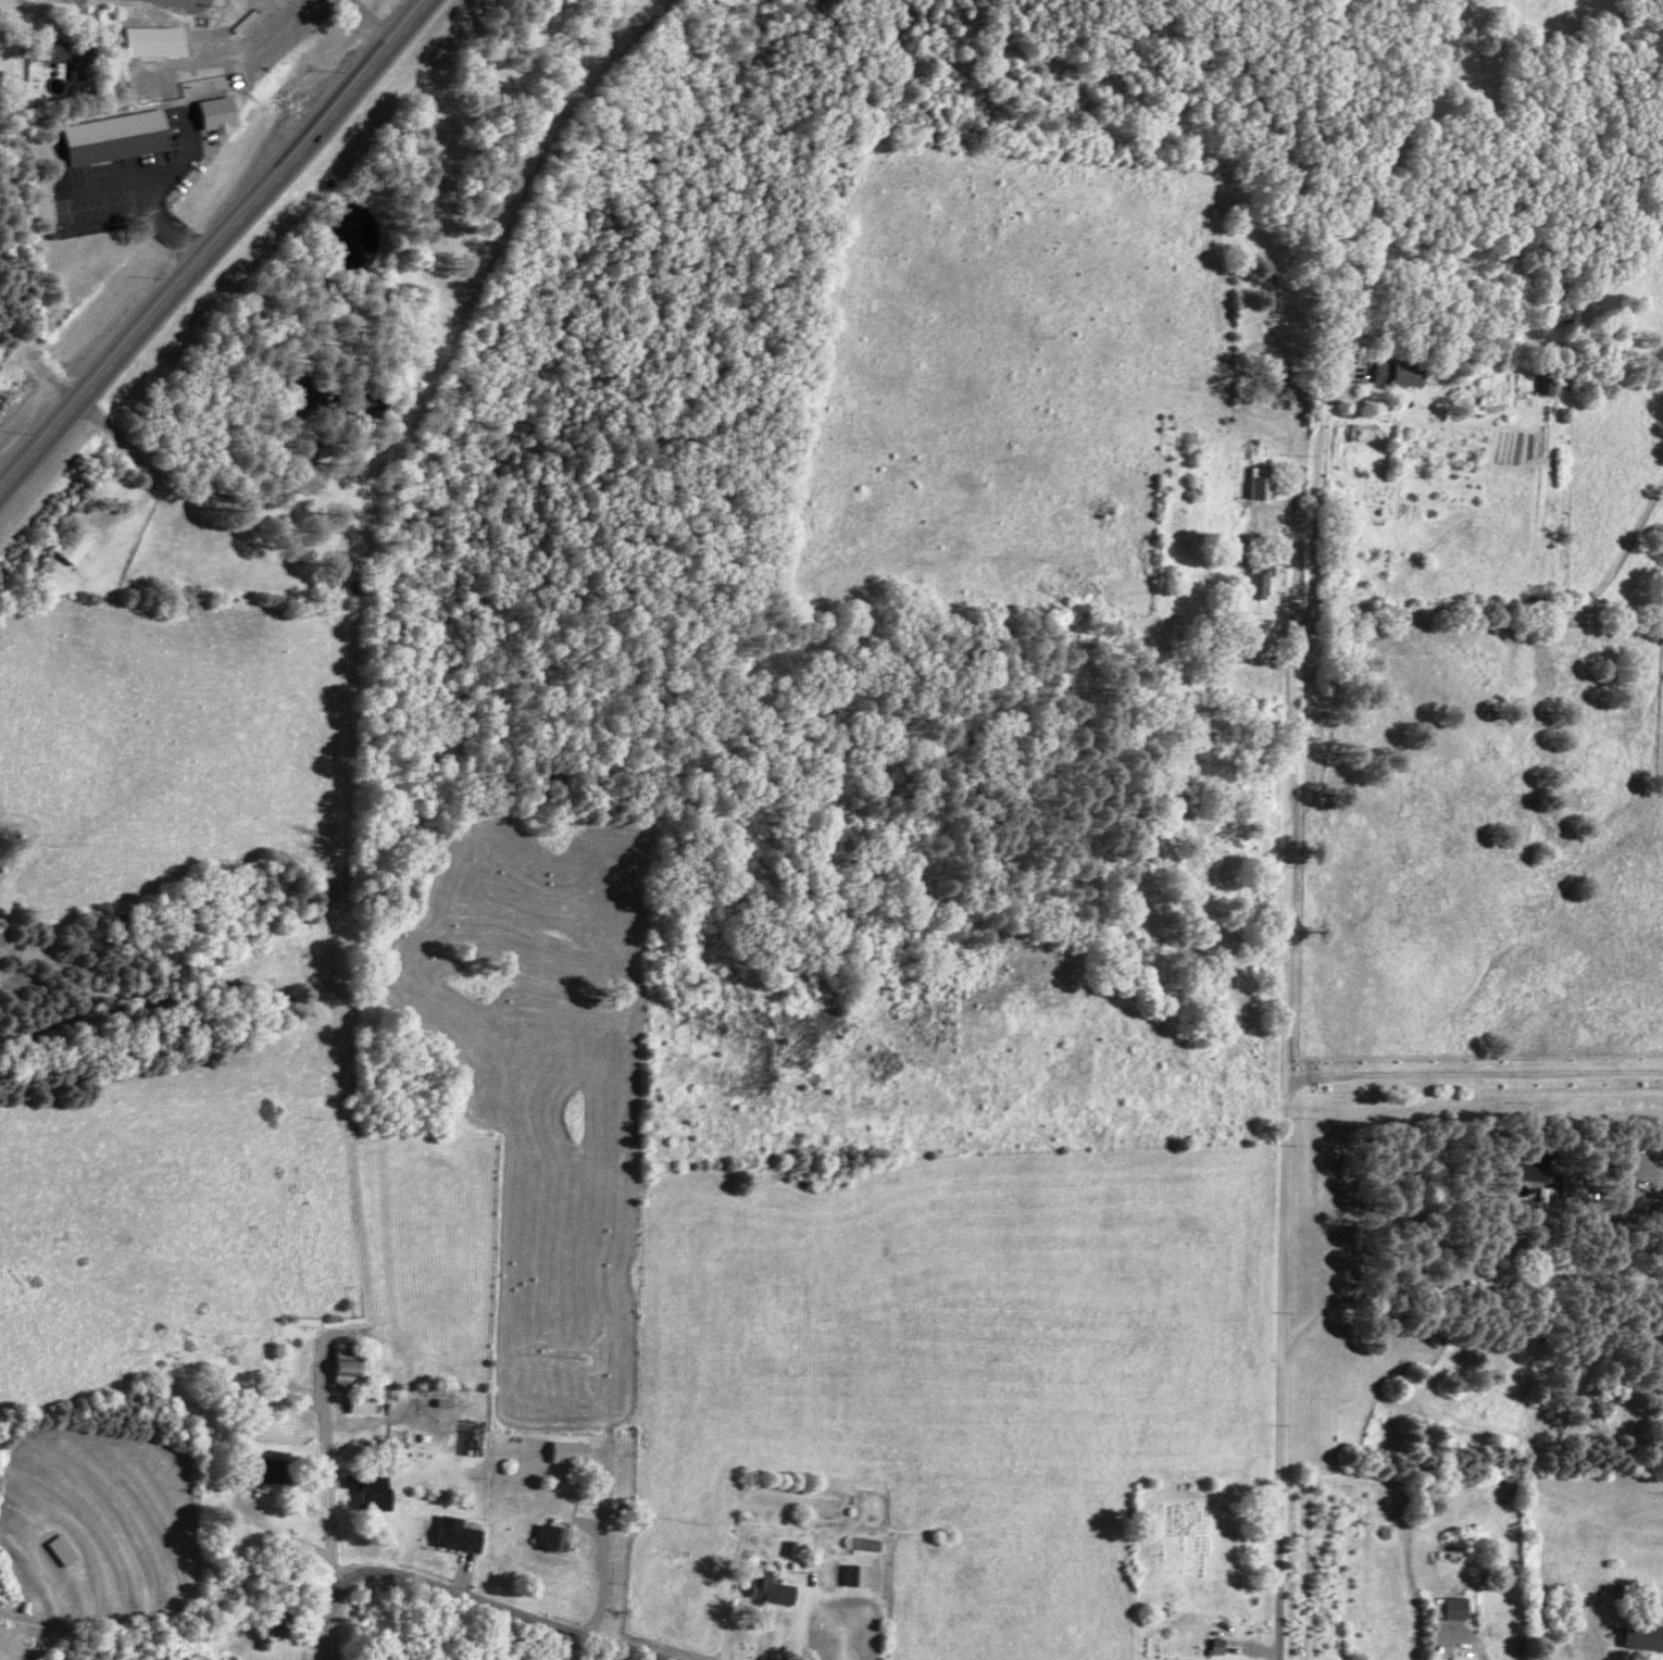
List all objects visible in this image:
building: (71, 55)
building: (220, 113)
building: (121, 136)
road: (214, 241)
building: (1403, 373)
building: (1558, 385)
building: (309, 395)
building: (1266, 483)
road: (1320, 484)
building: (79, 542)
building: (1266, 578)
road: (1622, 607)
road: (1515, 608)
road: (1474, 1066)
road: (1285, 1135)
building: (1645, 1164)
building: (1536, 1165)
building: (1578, 1184)
road: (1440, 1284)
building: (355, 1364)
building: (451, 1403)
building: (368, 1406)
building: (574, 1450)
building: (272, 1469)
building: (378, 1490)
road: (329, 1502)
building: (463, 1533)
building: (555, 1536)
building: (868, 1543)
road: (599, 1548)
building: (67, 1549)
building: (862, 1574)
building: (774, 1587)
road: (503, 1607)
building: (1455, 1607)
road: (325, 1620)
building: (1646, 1635)

